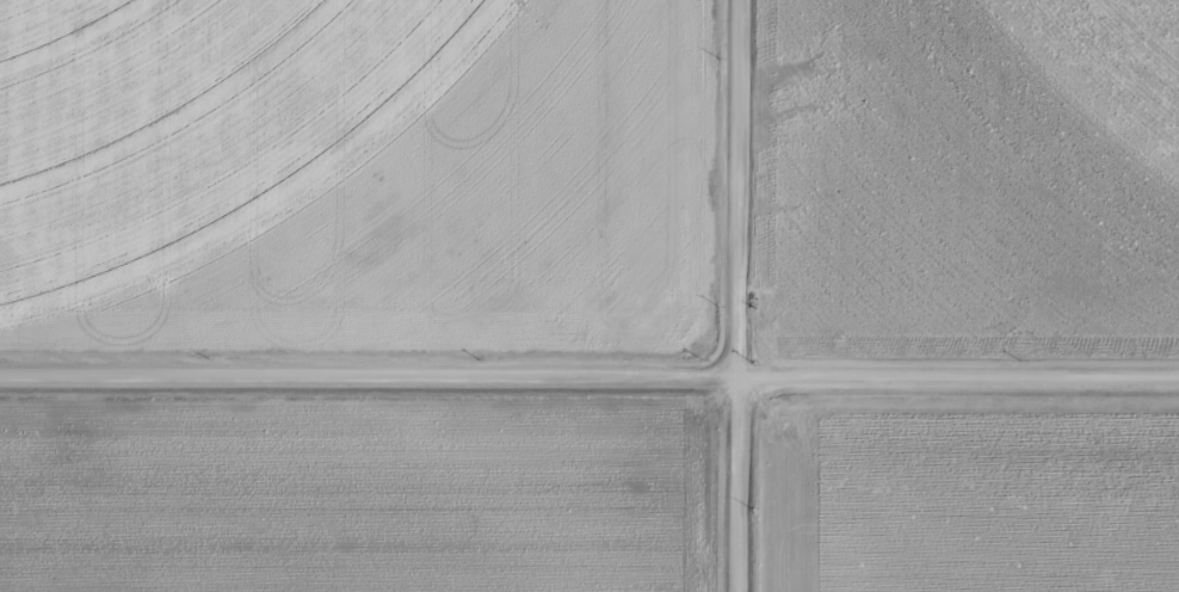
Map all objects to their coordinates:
road: (722, 296)
road: (589, 343)

